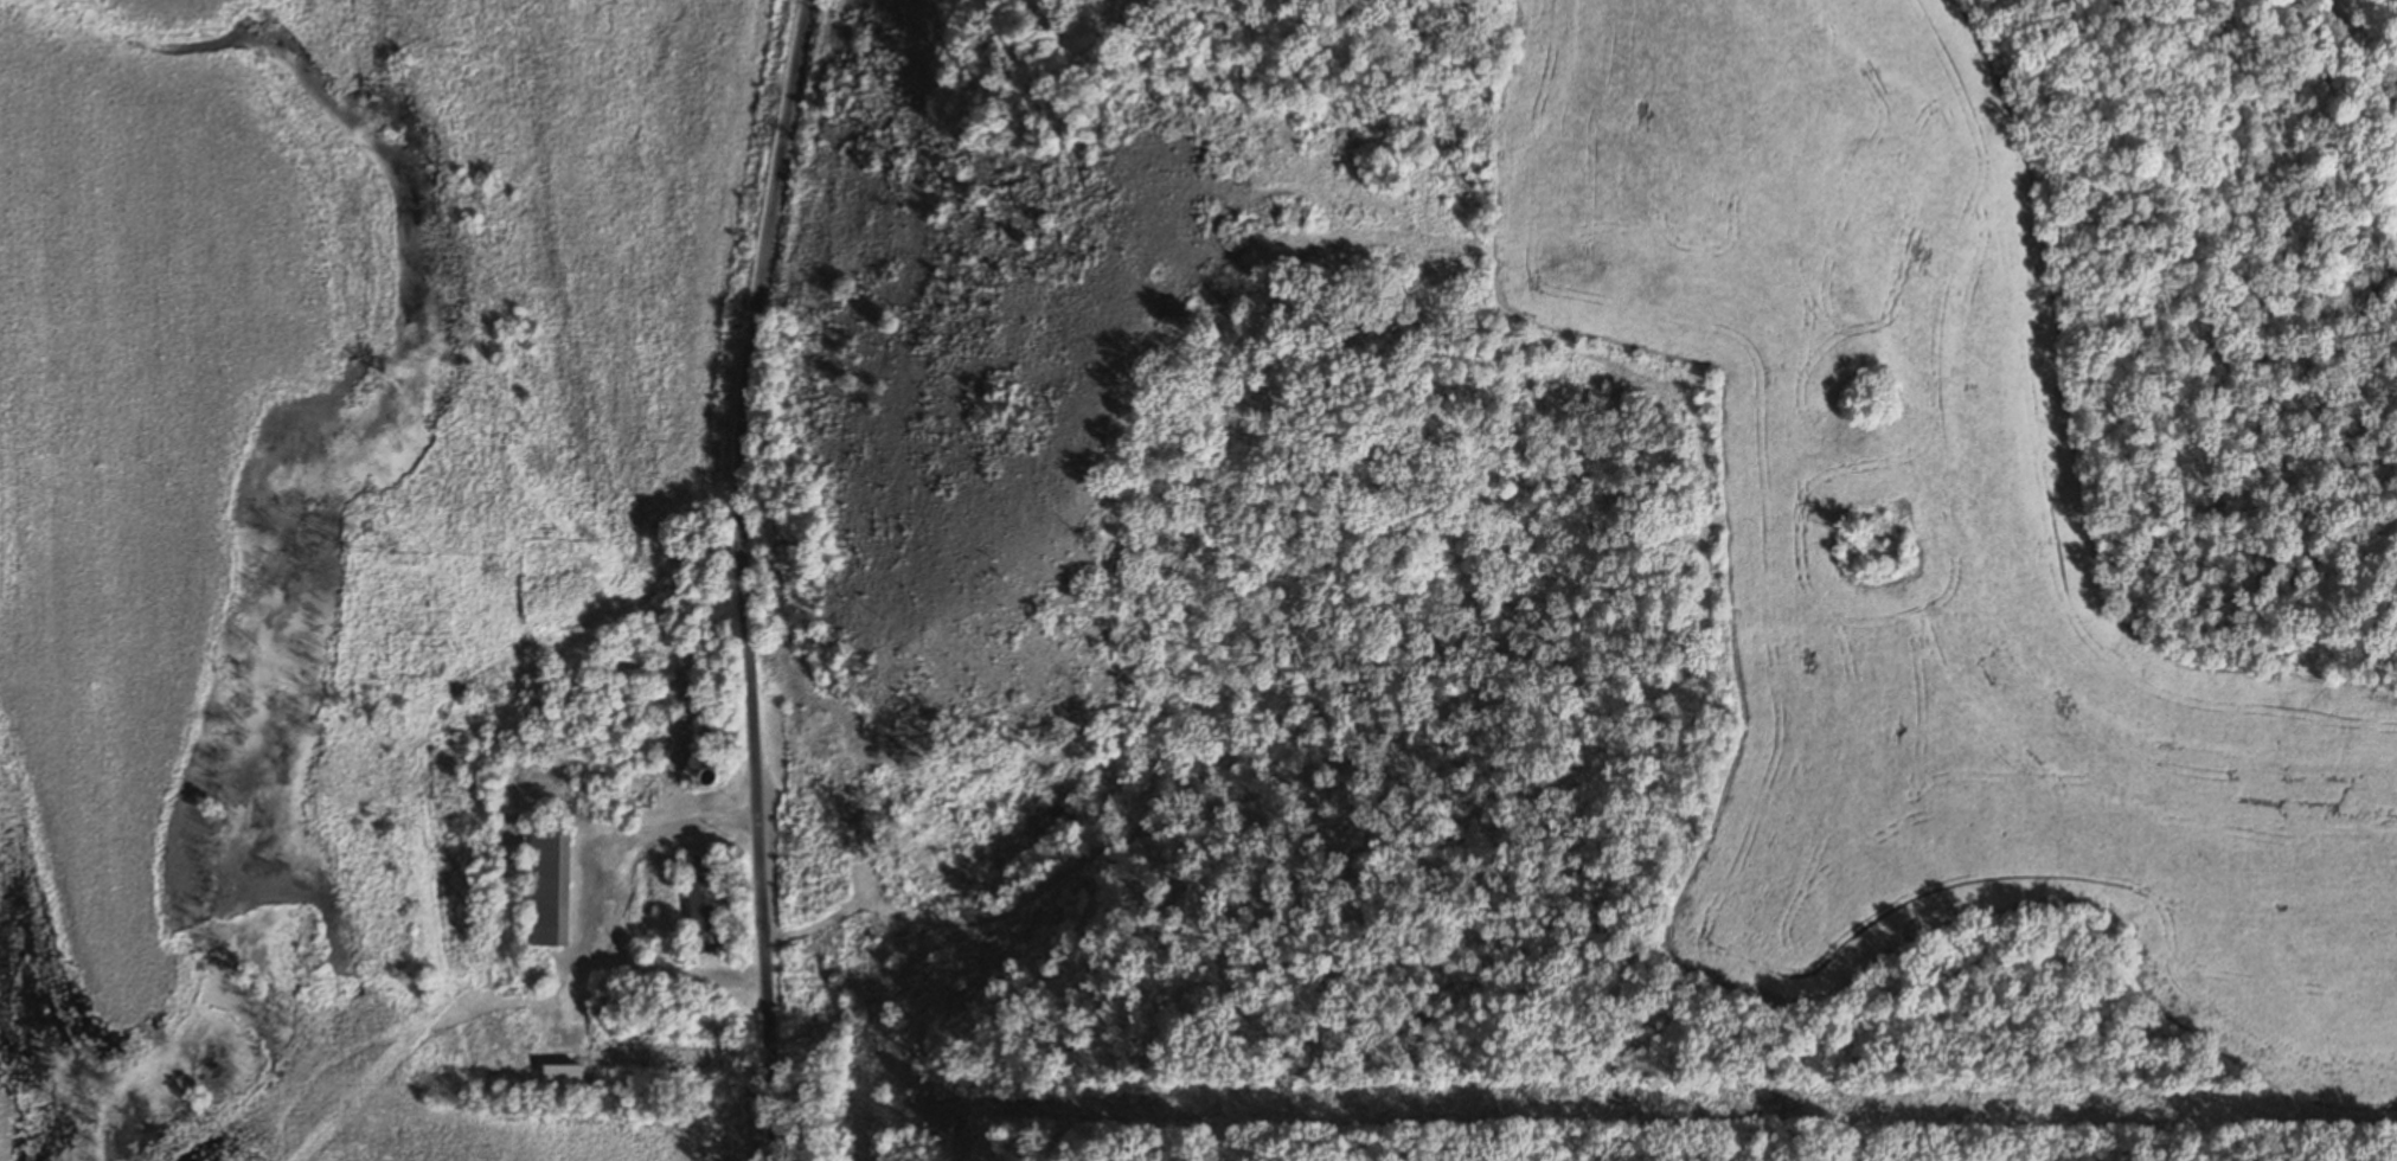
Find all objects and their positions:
road: (748, 578)
building: (546, 890)
building: (707, 904)
building: (559, 1078)

